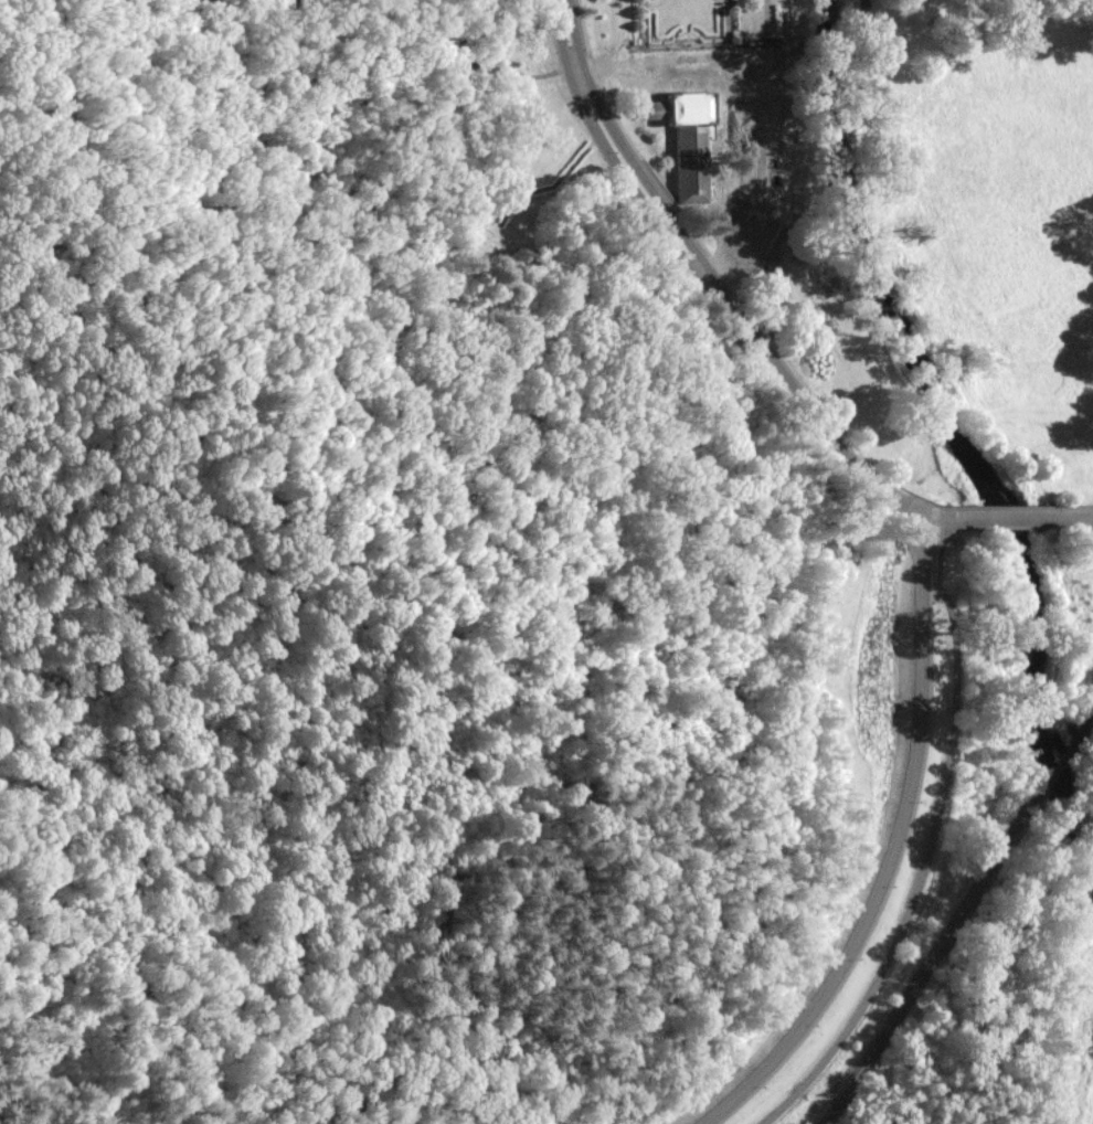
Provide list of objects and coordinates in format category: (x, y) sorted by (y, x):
road: (729, 24)
road: (709, 87)
building: (691, 146)
road: (708, 272)
river: (945, 428)
road: (1062, 475)
road: (983, 480)
road: (1002, 509)
railway: (1089, 718)
railway: (1061, 760)
road: (934, 827)
road: (898, 848)
railway: (933, 959)
river: (1090, 1110)

